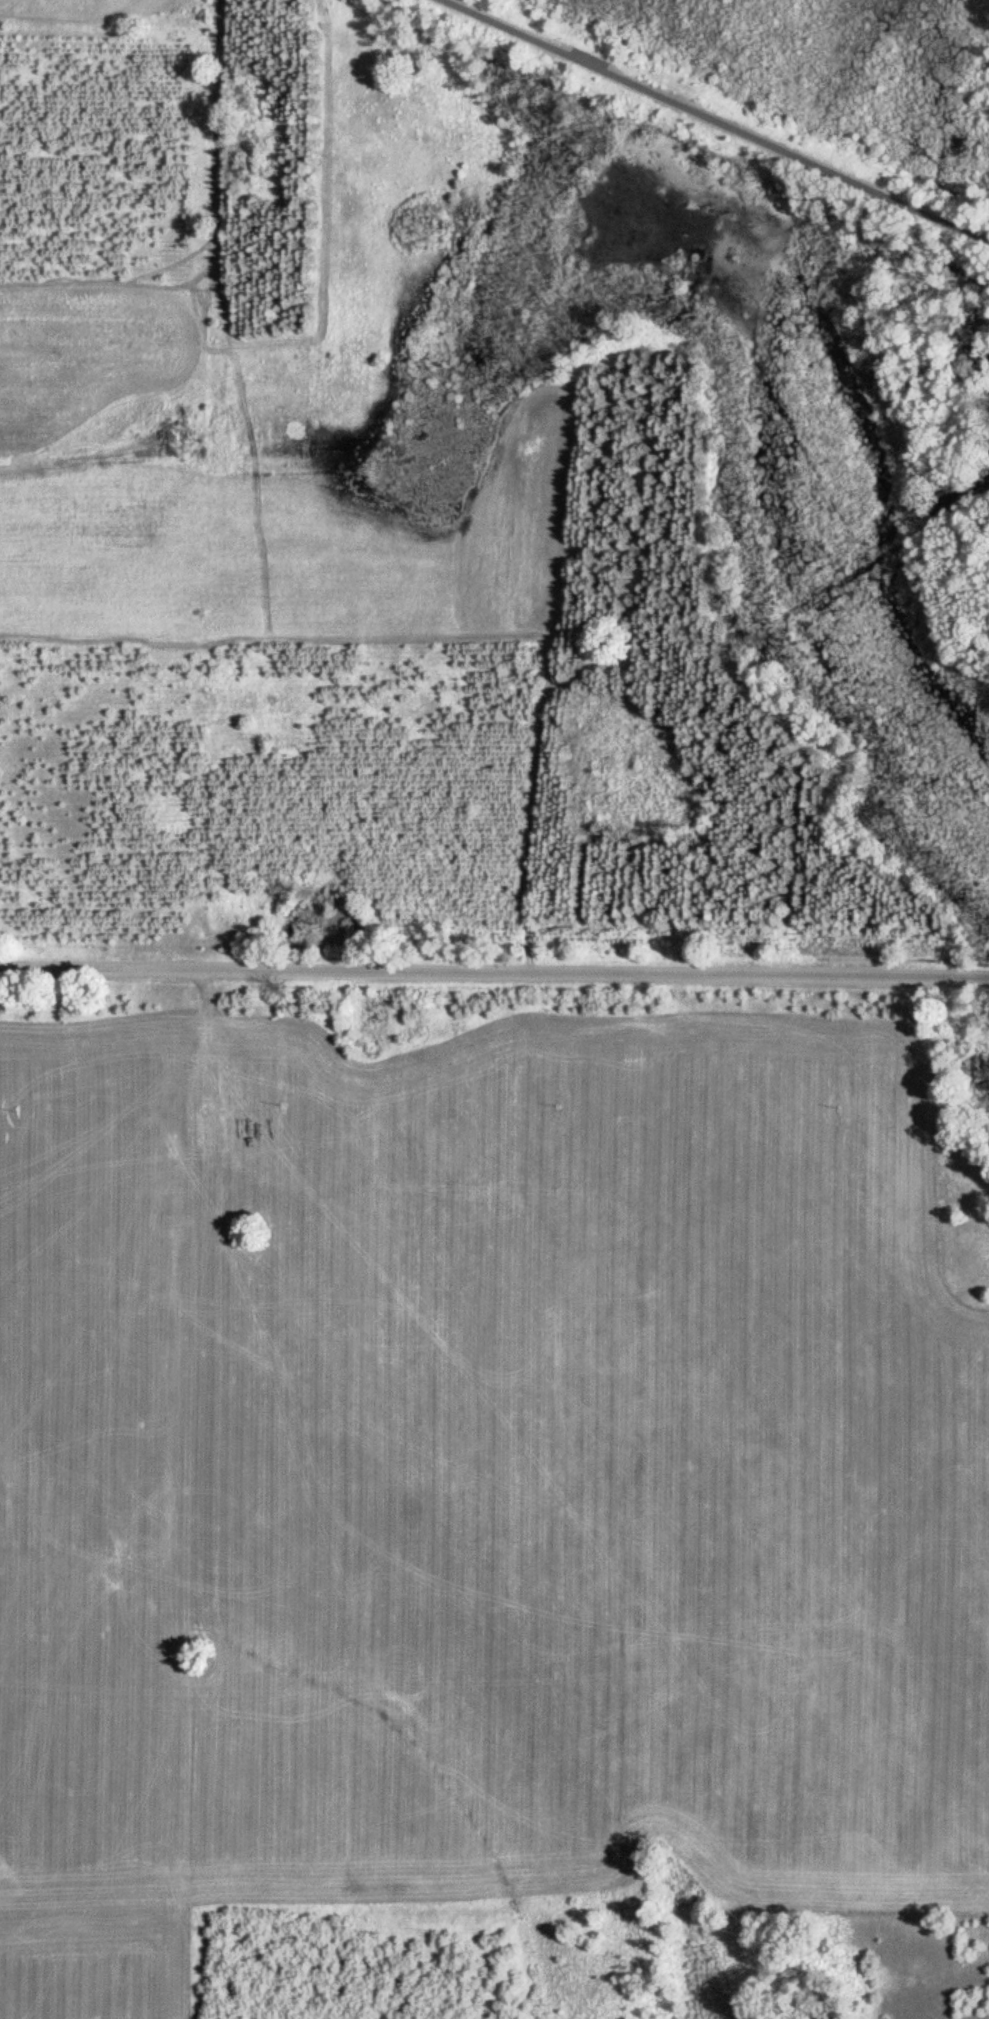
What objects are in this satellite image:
road: (717, 120)
road: (494, 976)

